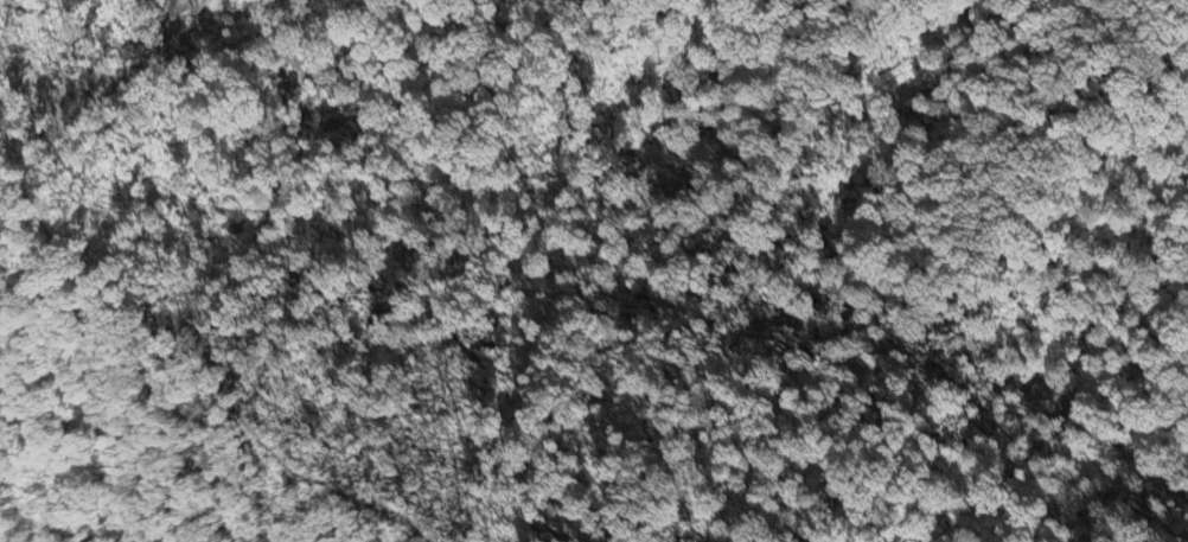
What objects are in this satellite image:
park: (263, 209)
park: (988, 368)
road: (197, 371)

